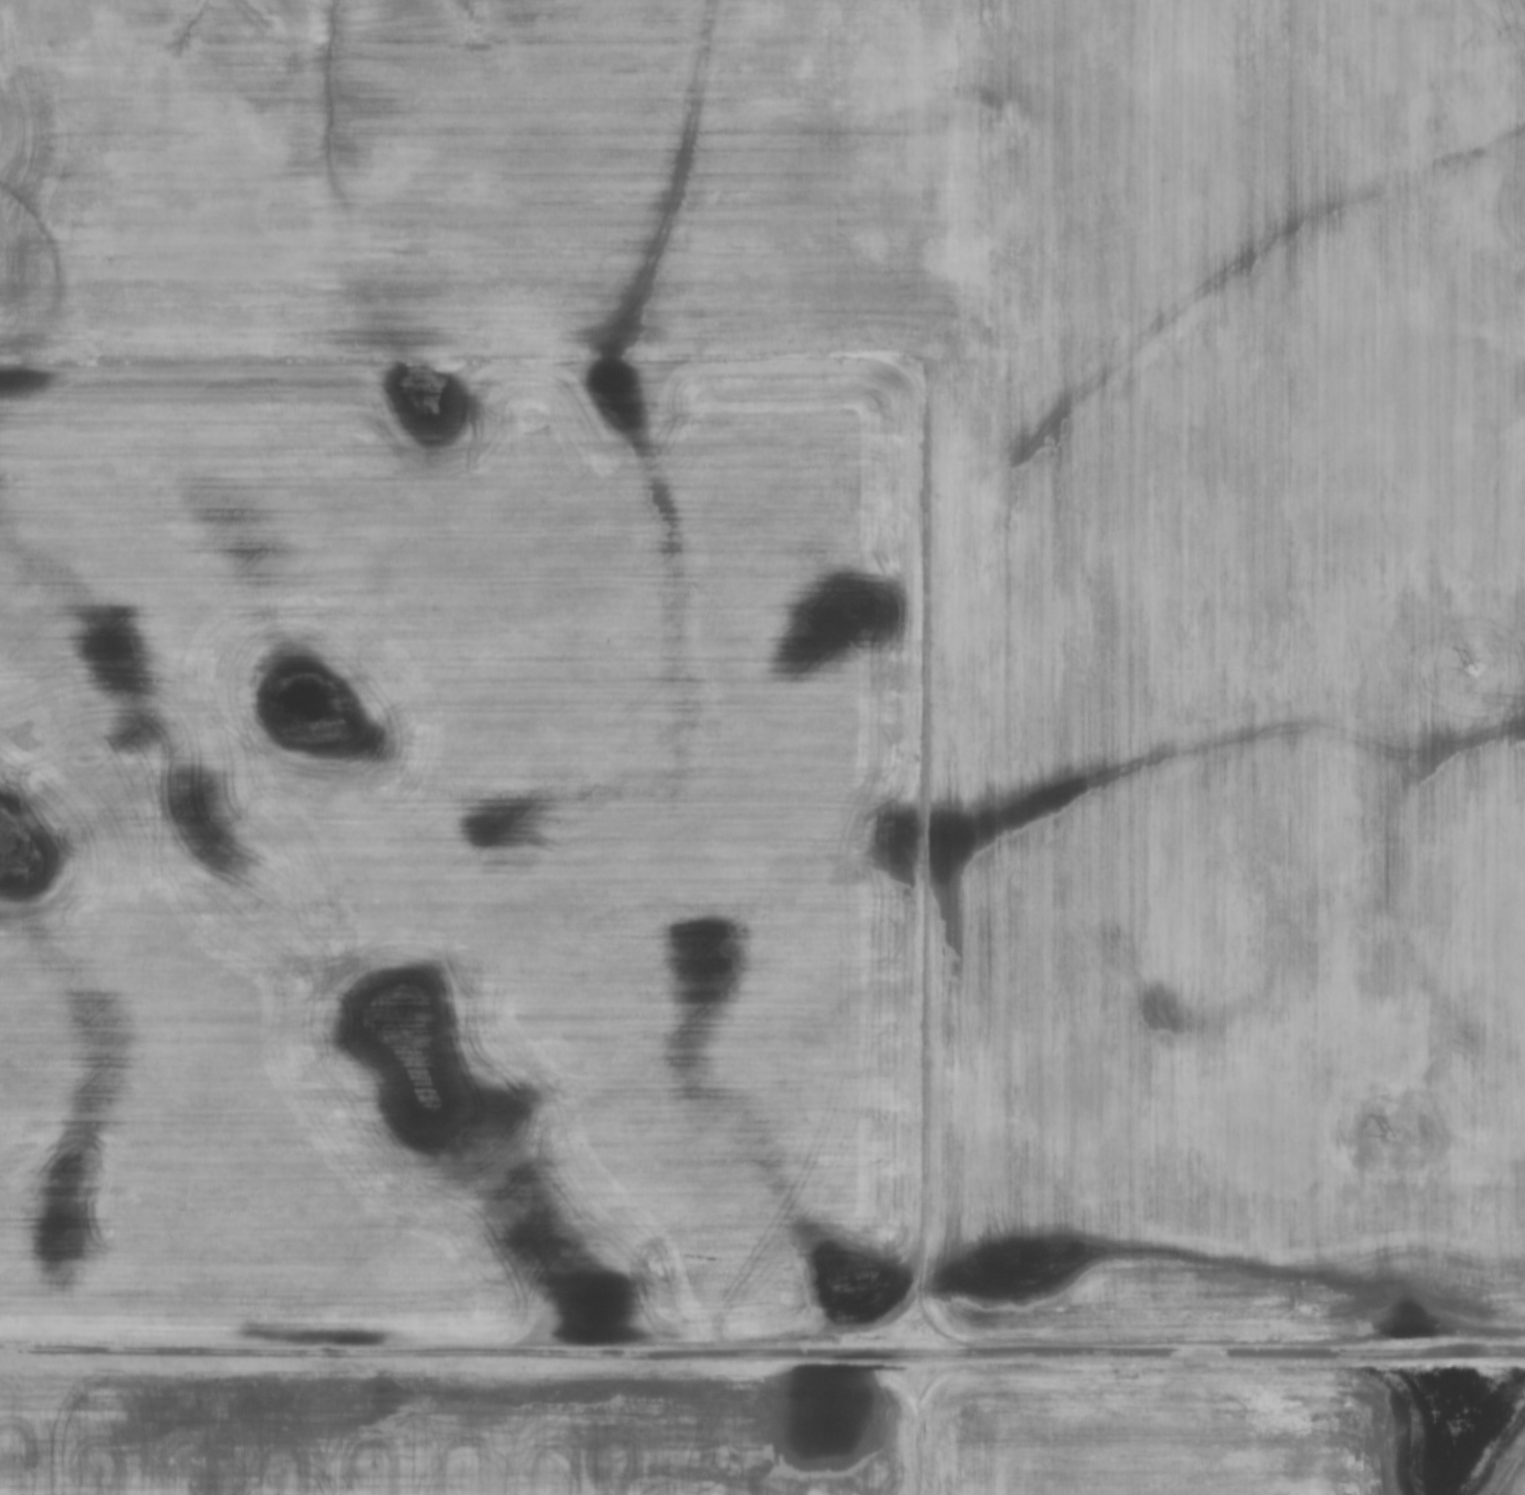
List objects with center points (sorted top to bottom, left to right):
road: (762, 1352)

